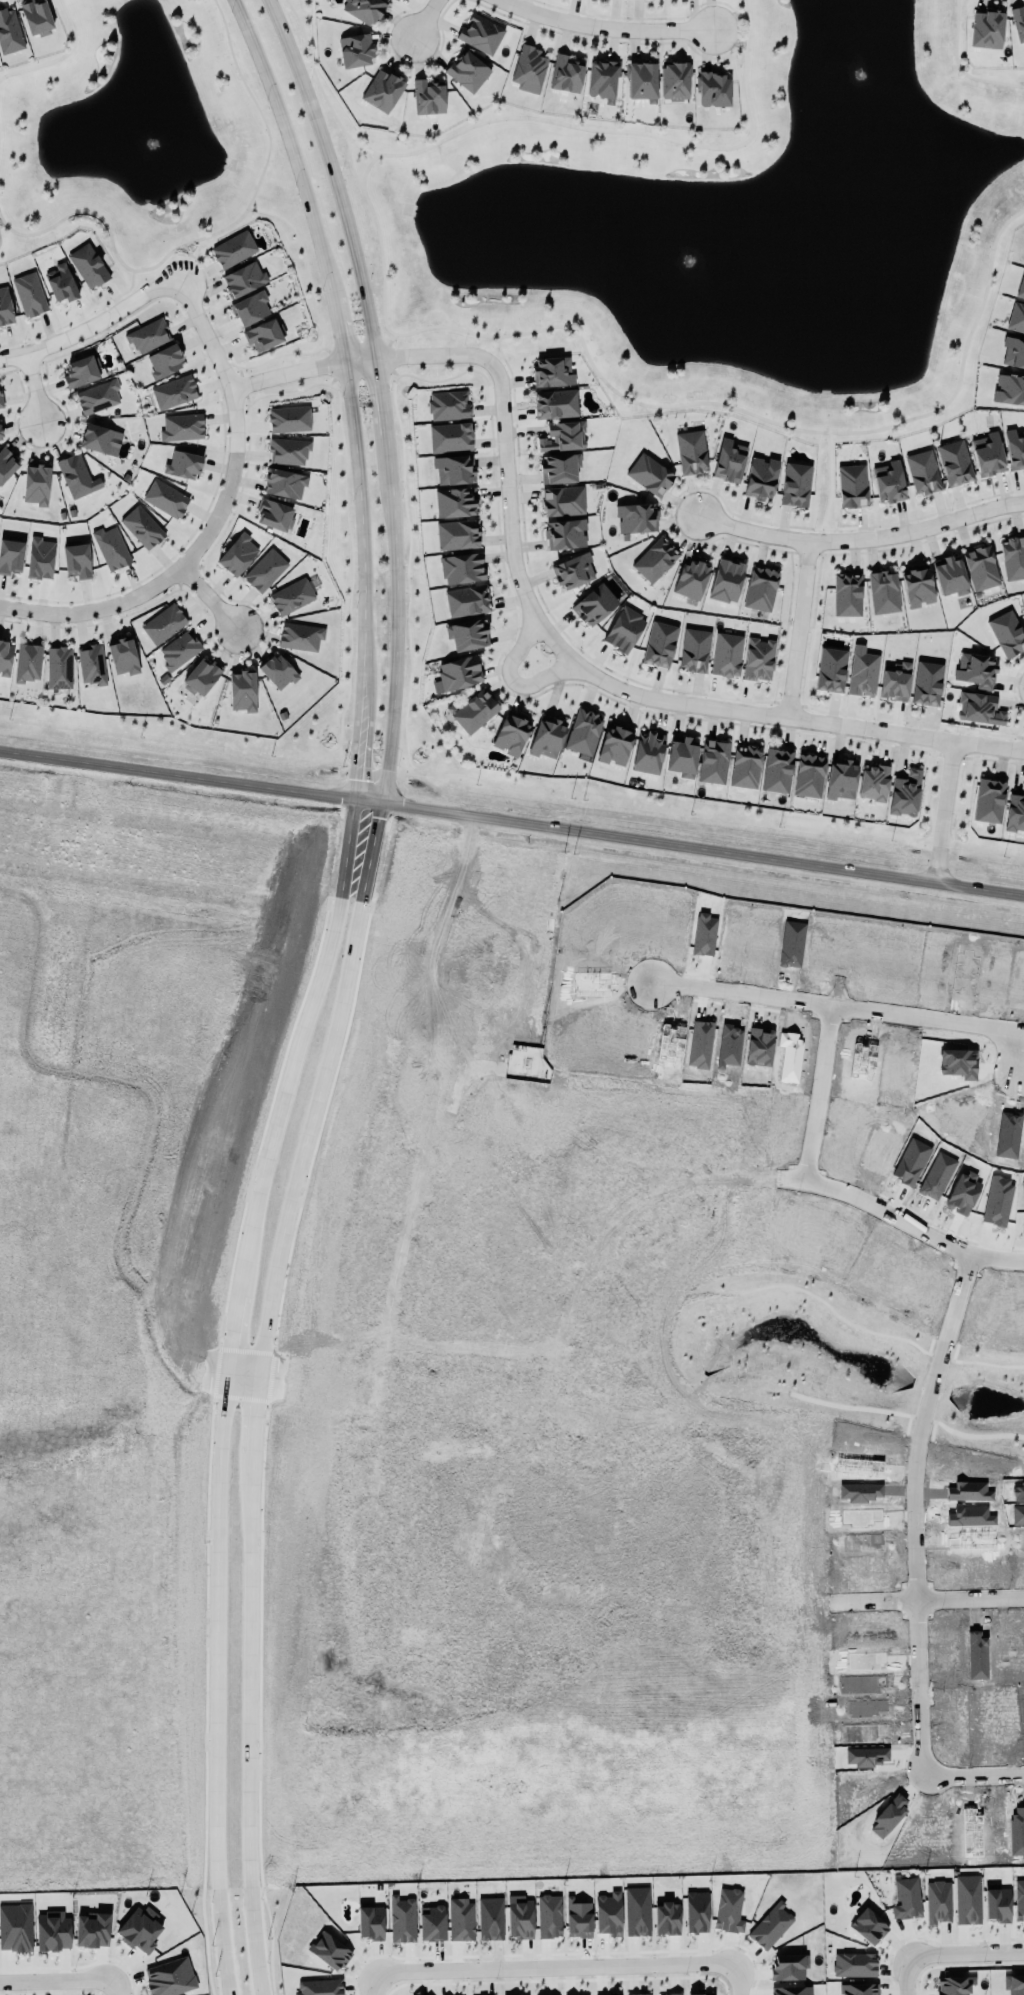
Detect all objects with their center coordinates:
building: (397, 0)
building: (364, 9)
building: (36, 16)
road: (424, 20)
building: (1018, 22)
building: (987, 29)
road: (604, 30)
building: (10, 31)
building: (481, 34)
building: (356, 50)
road: (60, 56)
road: (961, 66)
building: (529, 69)
building: (468, 71)
building: (566, 74)
fountain: (862, 76)
building: (603, 79)
building: (642, 81)
building: (675, 81)
building: (714, 89)
building: (383, 90)
building: (428, 97)
road: (541, 119)
fountain: (155, 143)
road: (290, 147)
road: (351, 159)
road: (333, 175)
road: (212, 234)
building: (234, 249)
fountain: (695, 259)
building: (88, 265)
building: (244, 279)
building: (61, 282)
building: (1021, 287)
building: (30, 293)
building: (5, 307)
building: (251, 308)
building: (1016, 318)
road: (76, 319)
road: (94, 325)
road: (339, 330)
building: (264, 334)
building: (148, 335)
road: (384, 345)
building: (1013, 352)
road: (434, 355)
building: (164, 361)
road: (301, 369)
building: (82, 371)
building: (552, 371)
road: (35, 387)
building: (1009, 389)
building: (174, 391)
road: (376, 395)
building: (98, 396)
building: (1, 400)
building: (555, 403)
road: (666, 404)
building: (449, 405)
building: (289, 418)
building: (182, 427)
building: (1, 432)
building: (563, 436)
building: (450, 437)
building: (97, 438)
building: (1015, 448)
building: (289, 450)
building: (691, 451)
building: (988, 454)
building: (729, 460)
building: (955, 462)
building: (7, 463)
building: (183, 464)
building: (560, 468)
building: (454, 469)
building: (923, 471)
building: (650, 474)
building: (75, 475)
building: (761, 478)
building: (889, 481)
building: (285, 483)
building: (36, 484)
building: (796, 484)
building: (852, 485)
road: (830, 488)
building: (166, 498)
building: (563, 500)
building: (456, 502)
road: (510, 505)
building: (274, 514)
road: (215, 516)
building: (637, 517)
building: (142, 527)
building: (566, 533)
building: (457, 534)
road: (361, 538)
road: (860, 540)
building: (111, 547)
building: (11, 554)
building: (238, 554)
building: (40, 557)
building: (1013, 557)
building: (655, 559)
building: (77, 560)
building: (981, 567)
building: (462, 568)
building: (265, 570)
building: (573, 571)
building: (950, 576)
building: (692, 577)
building: (727, 580)
building: (917, 585)
building: (761, 588)
building: (884, 591)
building: (847, 594)
building: (292, 596)
road: (210, 598)
building: (467, 600)
building: (595, 604)
road: (394, 618)
building: (164, 623)
building: (624, 629)
road: (803, 629)
building: (1007, 633)
building: (467, 635)
building: (300, 636)
building: (660, 643)
building: (179, 649)
building: (694, 649)
building: (726, 654)
building: (123, 656)
building: (5, 657)
building: (759, 658)
building: (28, 662)
building: (92, 664)
building: (59, 667)
building: (831, 669)
building: (976, 670)
building: (278, 671)
building: (460, 672)
building: (863, 673)
building: (202, 676)
road: (514, 678)
building: (895, 680)
building: (927, 682)
building: (242, 690)
building: (979, 708)
building: (475, 711)
road: (780, 713)
building: (511, 732)
building: (584, 732)
building: (547, 737)
building: (615, 743)
building: (648, 752)
building: (682, 756)
road: (362, 757)
building: (713, 761)
building: (745, 766)
building: (777, 770)
road: (178, 774)
building: (809, 775)
building: (841, 779)
building: (873, 782)
building: (905, 793)
building: (989, 800)
road: (946, 812)
building: (1015, 813)
road: (689, 847)
road: (838, 1007)
road: (26, 1022)
road: (298, 1044)
road: (1018, 1051)
road: (312, 1080)
road: (161, 1094)
road: (619, 1165)
road: (834, 1188)
road: (116, 1258)
road: (607, 1300)
road: (233, 1324)
road: (190, 1355)
road: (240, 1360)
road: (155, 1362)
road: (382, 1363)
road: (224, 1371)
road: (251, 1374)
road: (406, 1375)
road: (185, 1381)
road: (236, 1386)
road: (404, 1401)
road: (247, 1420)
road: (916, 1552)
road: (212, 1571)
road: (882, 1598)
road: (241, 1608)
road: (566, 1658)
road: (475, 1788)
road: (217, 1876)
road: (250, 1880)
building: (907, 1898)
building: (968, 1899)
building: (1019, 1900)
building: (938, 1901)
building: (997, 1903)
building: (637, 1910)
building: (729, 1910)
building: (696, 1911)
building: (609, 1913)
building: (549, 1915)
building: (578, 1917)
building: (667, 1917)
building: (491, 1918)
building: (520, 1918)
building: (402, 1919)
building: (461, 1919)
building: (370, 1920)
building: (432, 1922)
building: (771, 1925)
building: (868, 1925)
building: (15, 1927)
building: (140, 1928)
building: (93, 1929)
building: (53, 1930)
building: (330, 1950)
road: (965, 1954)
building: (854, 1964)
building: (789, 1967)
road: (567, 1968)
road: (906, 1975)
building: (170, 1977)
road: (58, 1980)
road: (379, 1980)
building: (1014, 1984)
building: (952, 1985)
road: (736, 1986)
road: (118, 1987)
building: (320, 1987)
building: (858, 1989)
building: (791, 1990)
building: (610, 1994)
building: (639, 1994)
building: (670, 1994)
building: (695, 1994)

